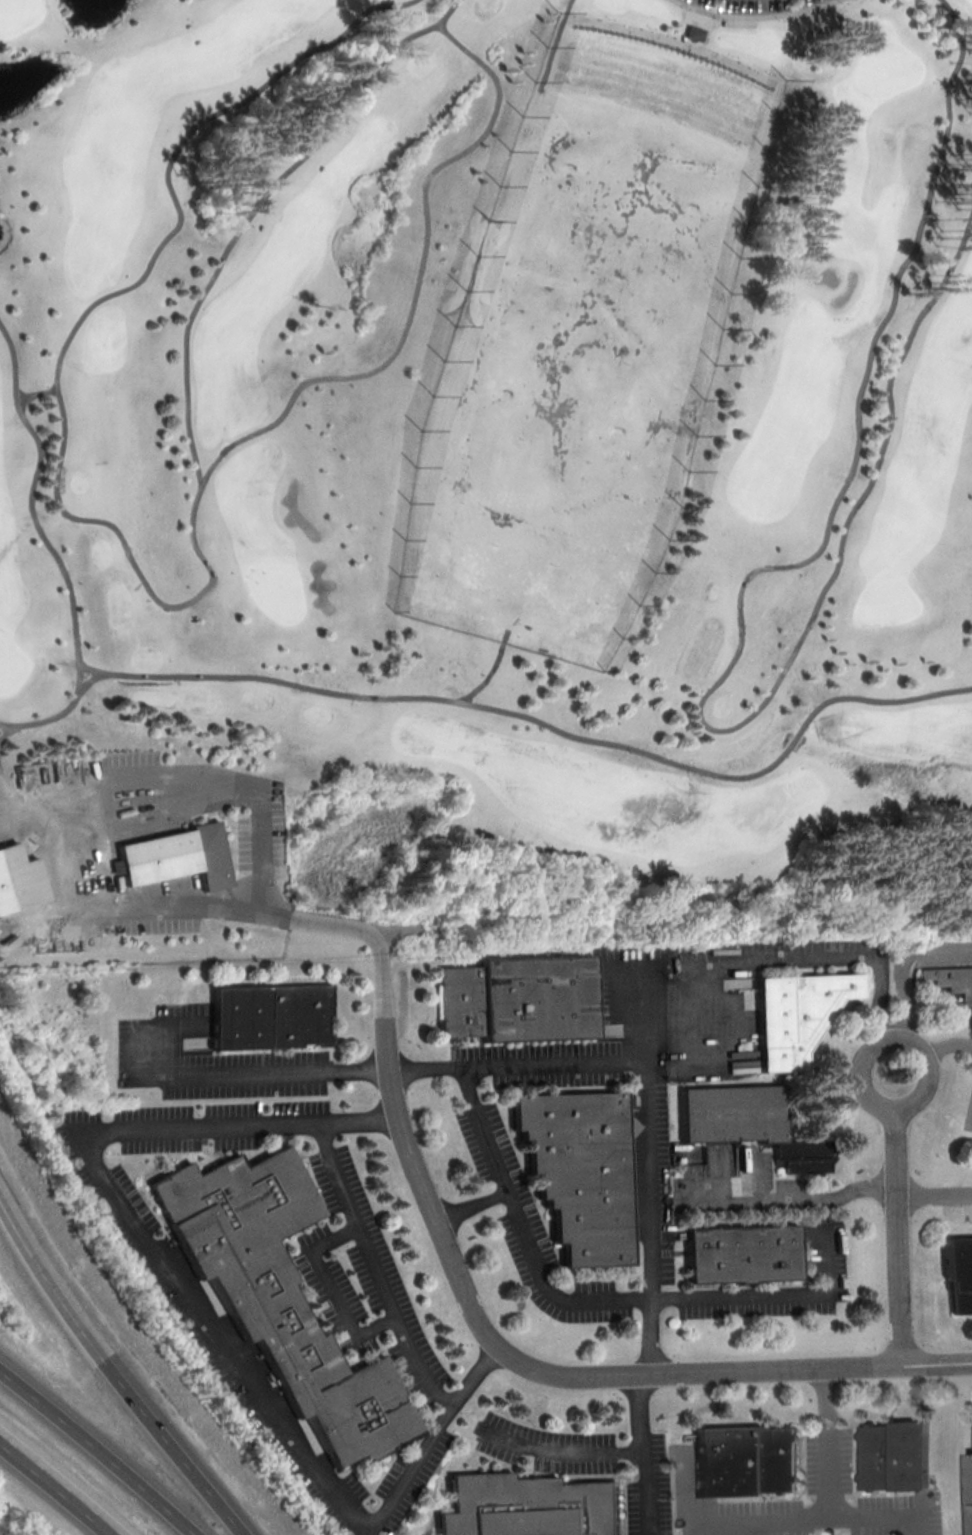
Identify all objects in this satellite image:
parking lot: (755, 6)
road: (758, 19)
building: (696, 34)
road: (556, 44)
road: (257, 209)
road: (38, 394)
park: (482, 475)
road: (143, 584)
road: (729, 628)
road: (480, 676)
road: (85, 681)
road: (365, 698)
road: (54, 715)
road: (3, 729)
road: (190, 787)
road: (3, 804)
building: (207, 856)
building: (153, 858)
road: (55, 861)
building: (17, 881)
road: (199, 908)
road: (805, 956)
road: (903, 965)
building: (951, 980)
road: (698, 991)
building: (519, 999)
building: (795, 1014)
building: (267, 1016)
road: (893, 1038)
road: (949, 1046)
parking lot: (205, 1061)
road: (555, 1061)
road: (283, 1071)
road: (359, 1120)
building: (750, 1122)
road: (109, 1130)
parking lot: (490, 1145)
road: (651, 1167)
building: (581, 1172)
road: (936, 1194)
road: (803, 1199)
road: (474, 1205)
road: (17, 1218)
road: (17, 1224)
road: (526, 1229)
road: (902, 1236)
building: (744, 1254)
building: (962, 1275)
road: (332, 1287)
building: (280, 1297)
road: (773, 1297)
parking lot: (372, 1321)
road: (523, 1362)
road: (127, 1385)
road: (825, 1397)
road: (642, 1413)
road: (431, 1436)
road: (98, 1448)
road: (605, 1451)
building: (895, 1455)
building: (747, 1460)
parking lot: (592, 1463)
road: (829, 1471)
road: (57, 1486)
building: (969, 1488)
parking lot: (833, 1500)
building: (529, 1506)
road: (840, 1515)
road: (707, 1521)
road: (237, 1524)
road: (737, 1527)

